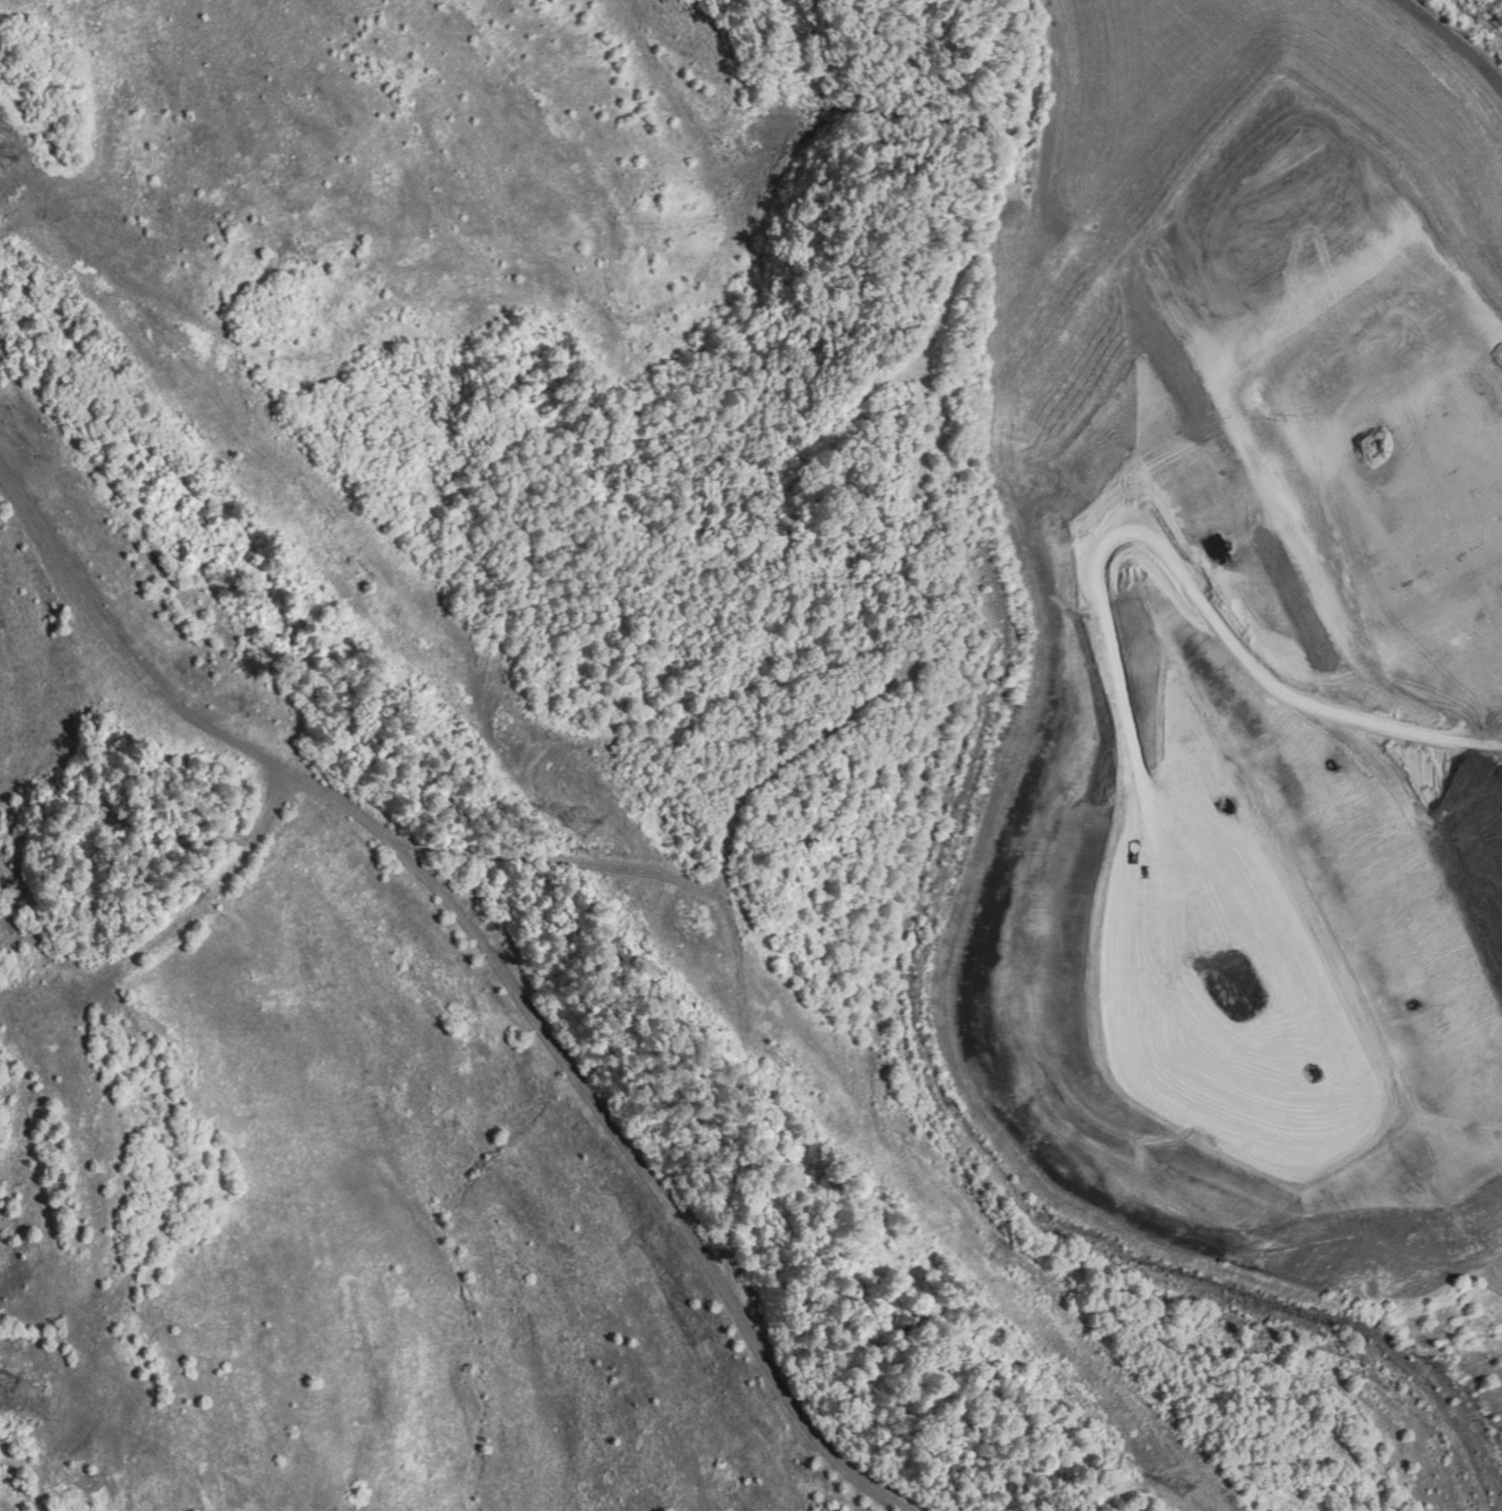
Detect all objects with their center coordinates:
power tower: (20, 1379)

